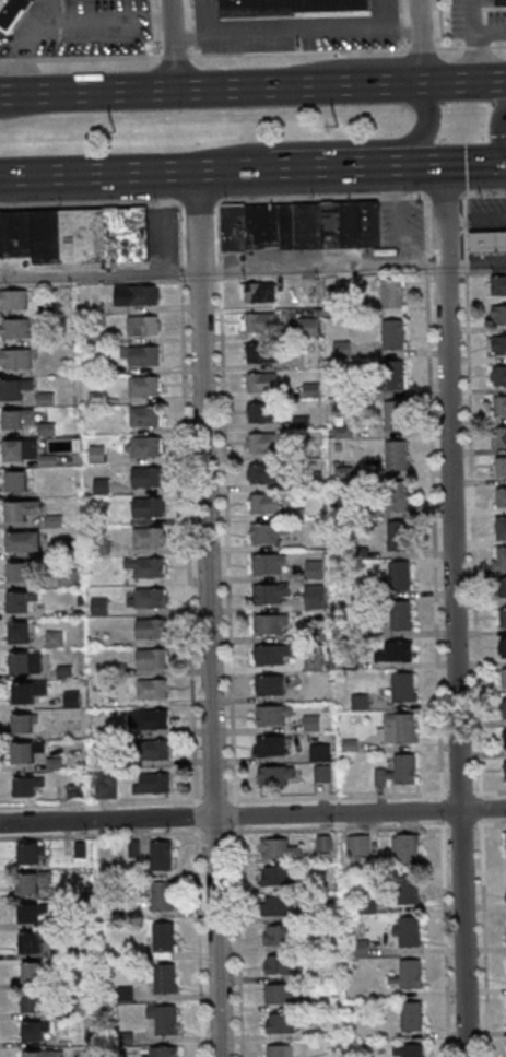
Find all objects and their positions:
building: (501, 2)
building: (291, 7)
building: (13, 13)
road: (66, 21)
parking lot: (476, 22)
road: (492, 30)
road: (295, 36)
road: (478, 39)
road: (420, 40)
road: (172, 45)
road: (350, 50)
road: (252, 87)
power tower: (336, 126)
road: (499, 127)
power tower: (114, 132)
road: (327, 143)
road: (252, 167)
road: (252, 198)
road: (442, 215)
road: (473, 220)
road: (197, 221)
building: (301, 225)
building: (90, 234)
building: (487, 240)
road: (252, 272)
building: (498, 285)
building: (258, 292)
building: (392, 293)
building: (137, 295)
building: (13, 298)
building: (498, 316)
building: (259, 322)
building: (143, 325)
building: (308, 327)
building: (16, 328)
building: (392, 334)
building: (498, 345)
building: (342, 350)
building: (261, 352)
building: (143, 355)
building: (16, 357)
building: (393, 375)
building: (498, 377)
building: (262, 381)
building: (145, 386)
building: (14, 389)
building: (499, 407)
building: (262, 412)
building: (146, 415)
building: (396, 416)
building: (17, 420)
building: (501, 436)
building: (263, 442)
building: (148, 446)
building: (20, 449)
building: (97, 456)
building: (396, 457)
building: (501, 466)
building: (263, 473)
building: (148, 475)
building: (17, 480)
building: (501, 496)
building: (396, 497)
building: (264, 504)
building: (148, 507)
building: (21, 509)
building: (501, 527)
building: (264, 535)
building: (398, 536)
building: (150, 537)
building: (25, 540)
building: (499, 559)
building: (267, 565)
building: (146, 566)
building: (17, 571)
building: (315, 571)
building: (400, 575)
building: (503, 588)
building: (270, 595)
building: (151, 597)
building: (316, 599)
building: (21, 601)
building: (98, 606)
building: (400, 615)
building: (503, 619)
building: (269, 625)
building: (152, 627)
building: (20, 632)
building: (55, 638)
building: (502, 648)
building: (397, 653)
building: (270, 656)
building: (152, 658)
road: (455, 661)
building: (25, 662)
building: (314, 663)
road: (209, 665)
building: (503, 679)
building: (269, 686)
building: (153, 689)
building: (403, 689)
building: (27, 691)
building: (72, 698)
building: (360, 703)
building: (503, 709)
building: (272, 717)
building: (150, 719)
building: (23, 723)
building: (398, 729)
building: (504, 739)
building: (271, 747)
building: (157, 749)
building: (28, 751)
building: (320, 752)
building: (504, 770)
building: (398, 772)
building: (322, 774)
building: (275, 776)
building: (152, 783)
building: (26, 785)
building: (109, 786)
road: (252, 817)
building: (357, 844)
building: (405, 848)
building: (279, 850)
building: (32, 853)
building: (161, 855)
building: (274, 876)
building: (34, 881)
building: (409, 891)
building: (163, 895)
building: (275, 905)
building: (28, 913)
building: (408, 930)
building: (276, 935)
building: (164, 940)
building: (30, 941)
building: (358, 948)
building: (278, 964)
building: (36, 972)
building: (408, 974)
building: (164, 979)
building: (279, 994)
building: (33, 1001)
building: (412, 1015)
building: (163, 1021)
building: (280, 1022)
building: (35, 1031)
building: (279, 1050)
building: (408, 1050)
building: (161, 1052)
building: (43, 1053)

